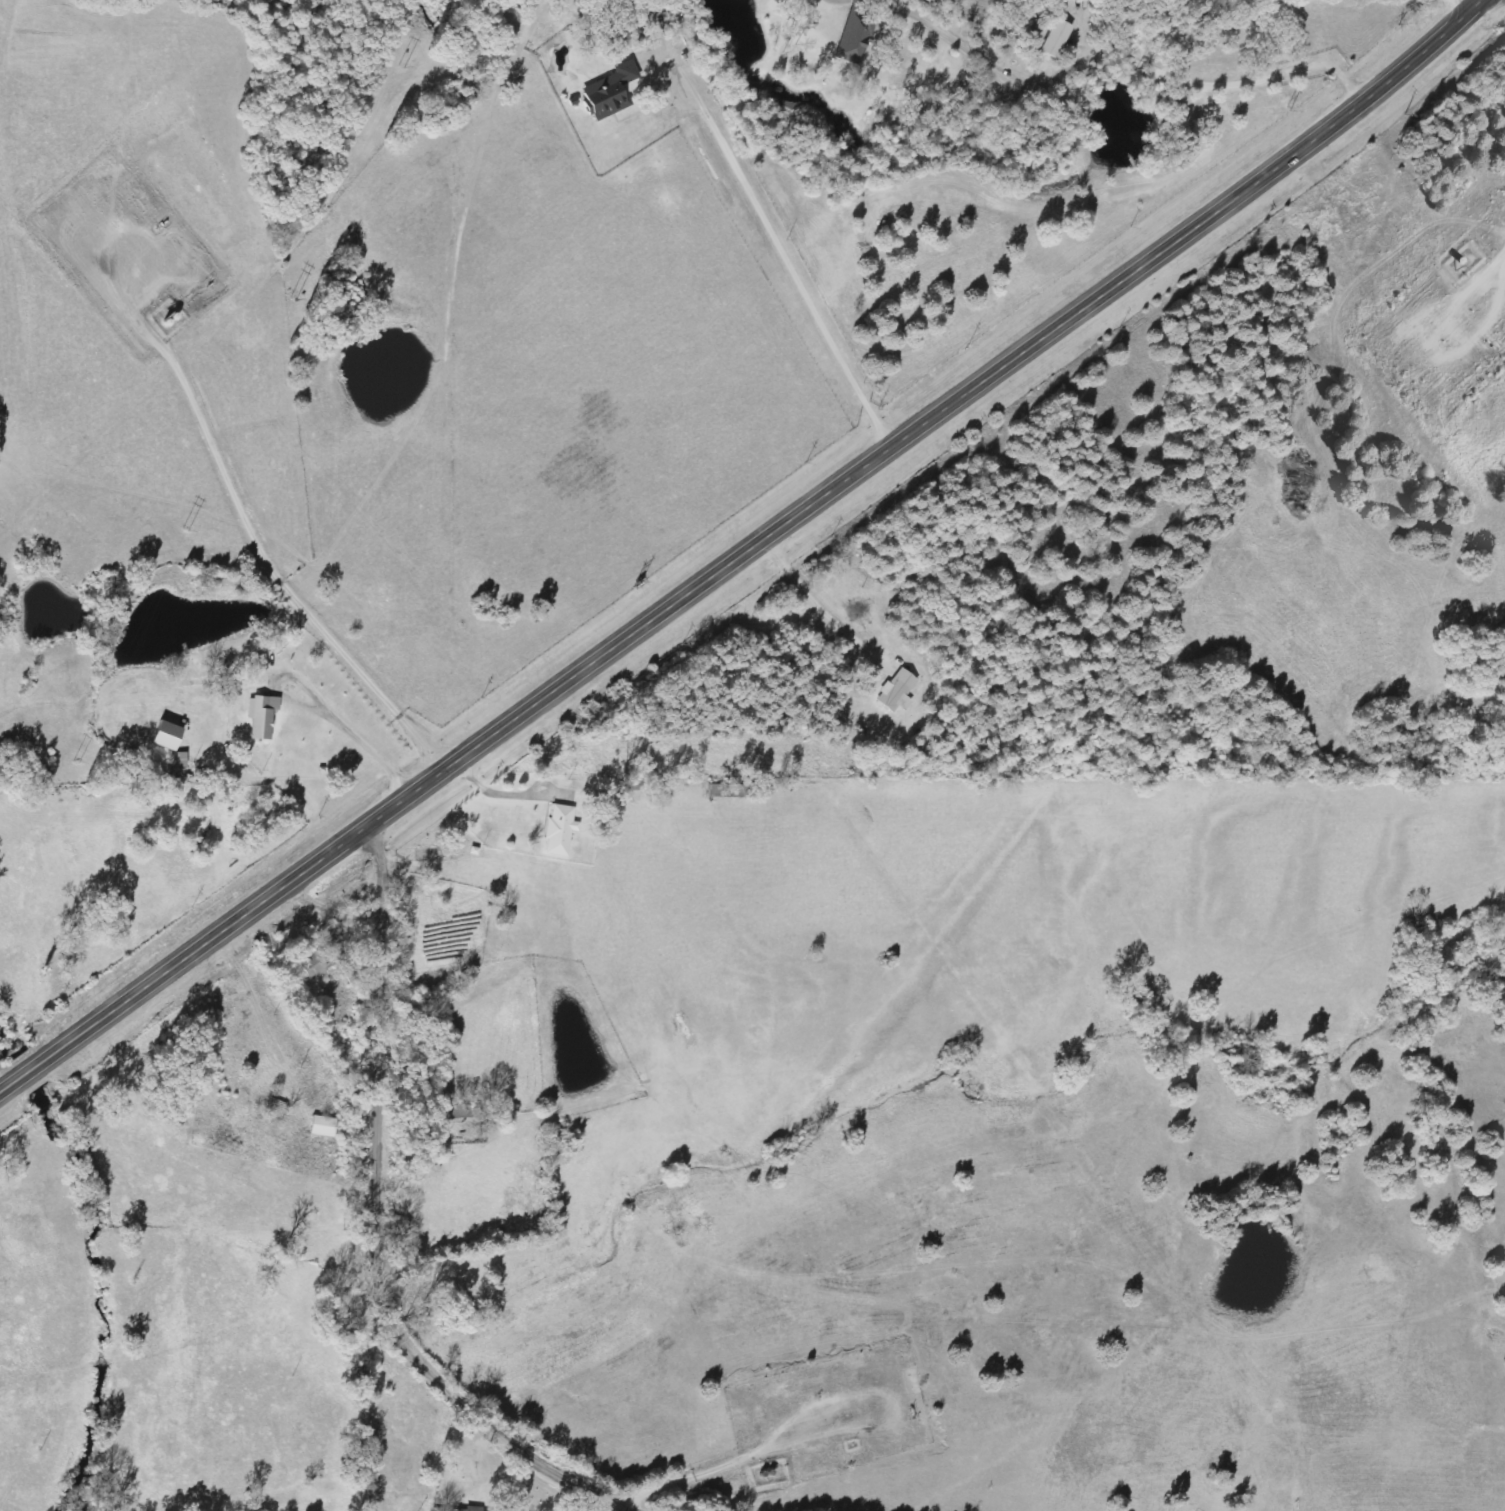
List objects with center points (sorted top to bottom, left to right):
building: (857, 38)
building: (1058, 39)
power tower: (400, 66)
building: (611, 93)
power tower: (293, 298)
power tower: (184, 528)
road: (751, 555)
building: (899, 693)
building: (263, 717)
building: (168, 737)
power tower: (77, 760)
building: (181, 761)
building: (562, 831)
building: (314, 966)
building: (324, 1127)
road: (418, 1273)
building: (468, 1510)

